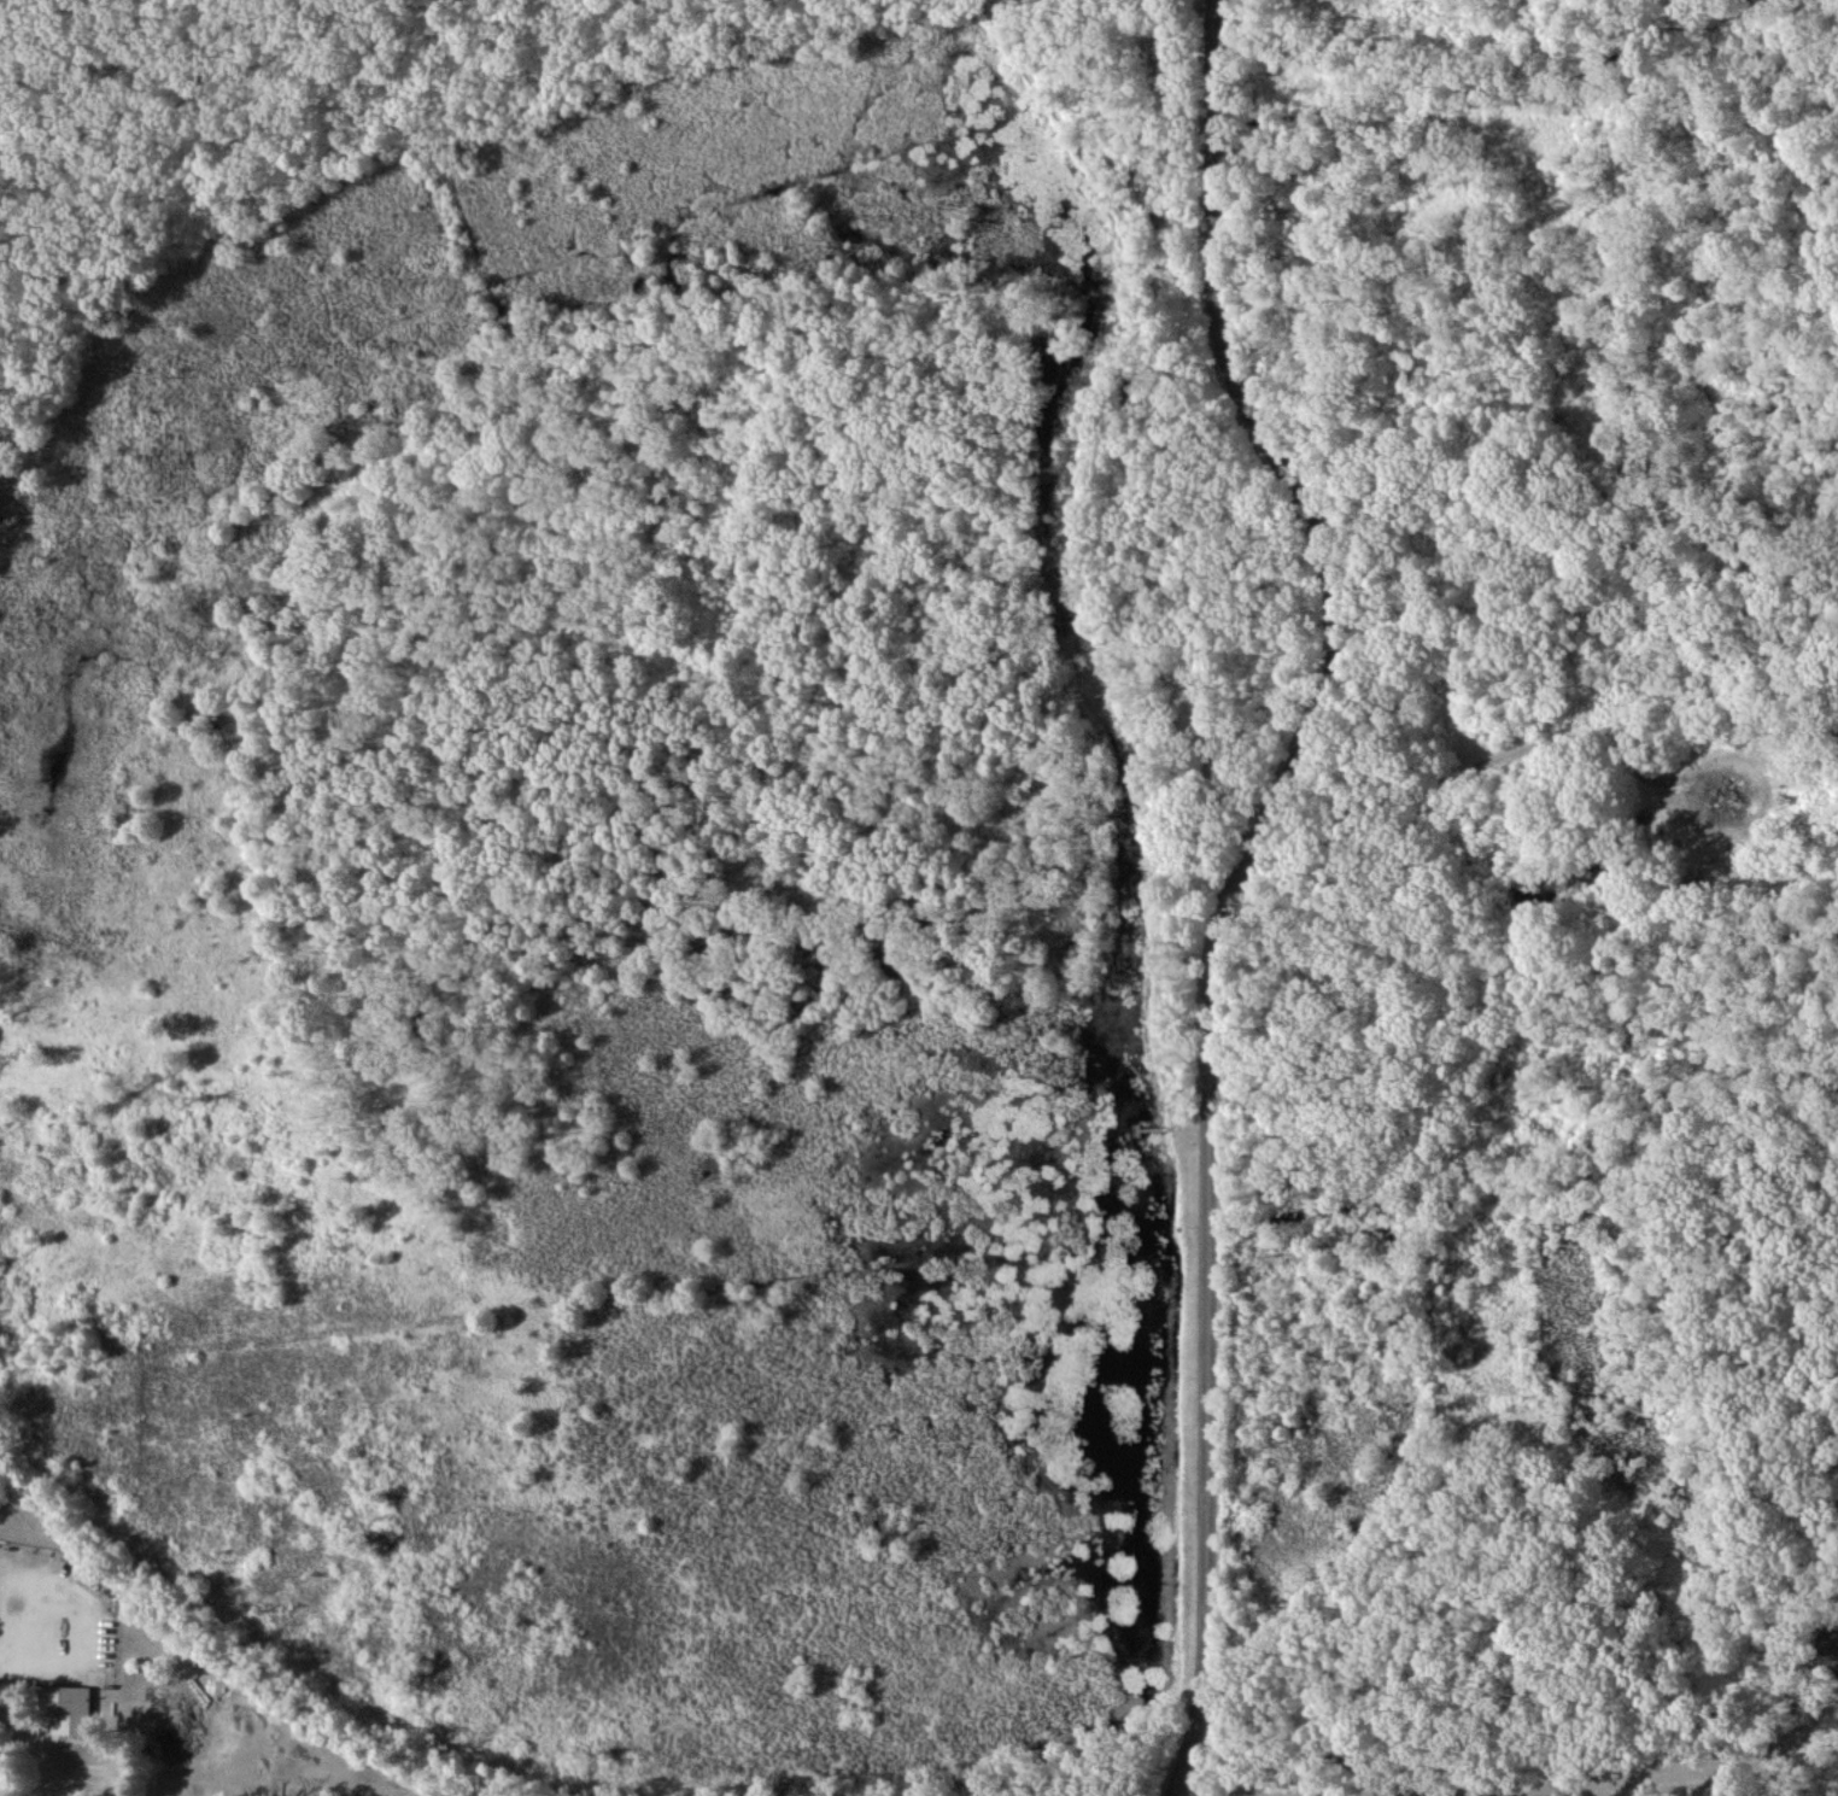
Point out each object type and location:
road: (310, 30)
road: (110, 68)
road: (151, 164)
road: (1078, 540)
road: (1489, 767)
road: (1237, 872)
road: (141, 1630)
building: (71, 1712)
road: (45, 1742)
road: (1526, 1774)
road: (1167, 1794)
road: (1173, 1794)

